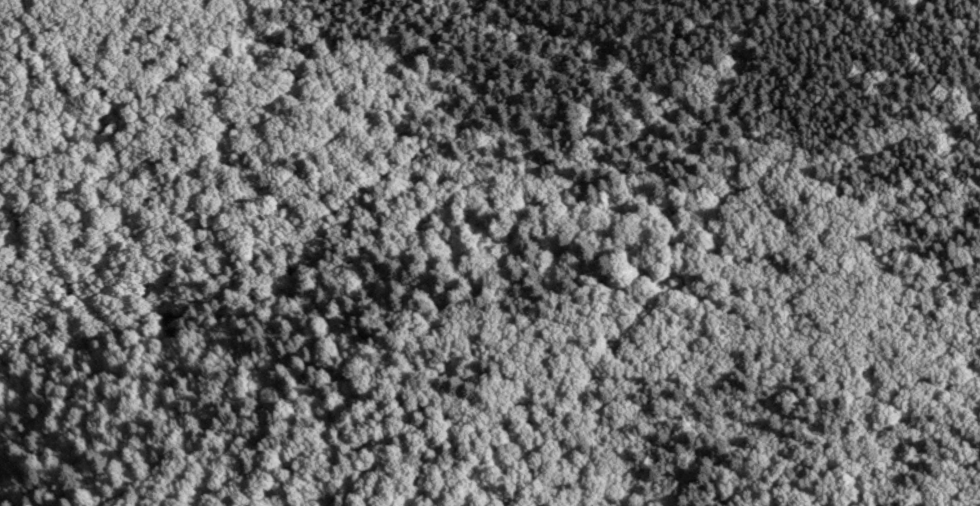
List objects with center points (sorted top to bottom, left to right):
road: (952, 253)

